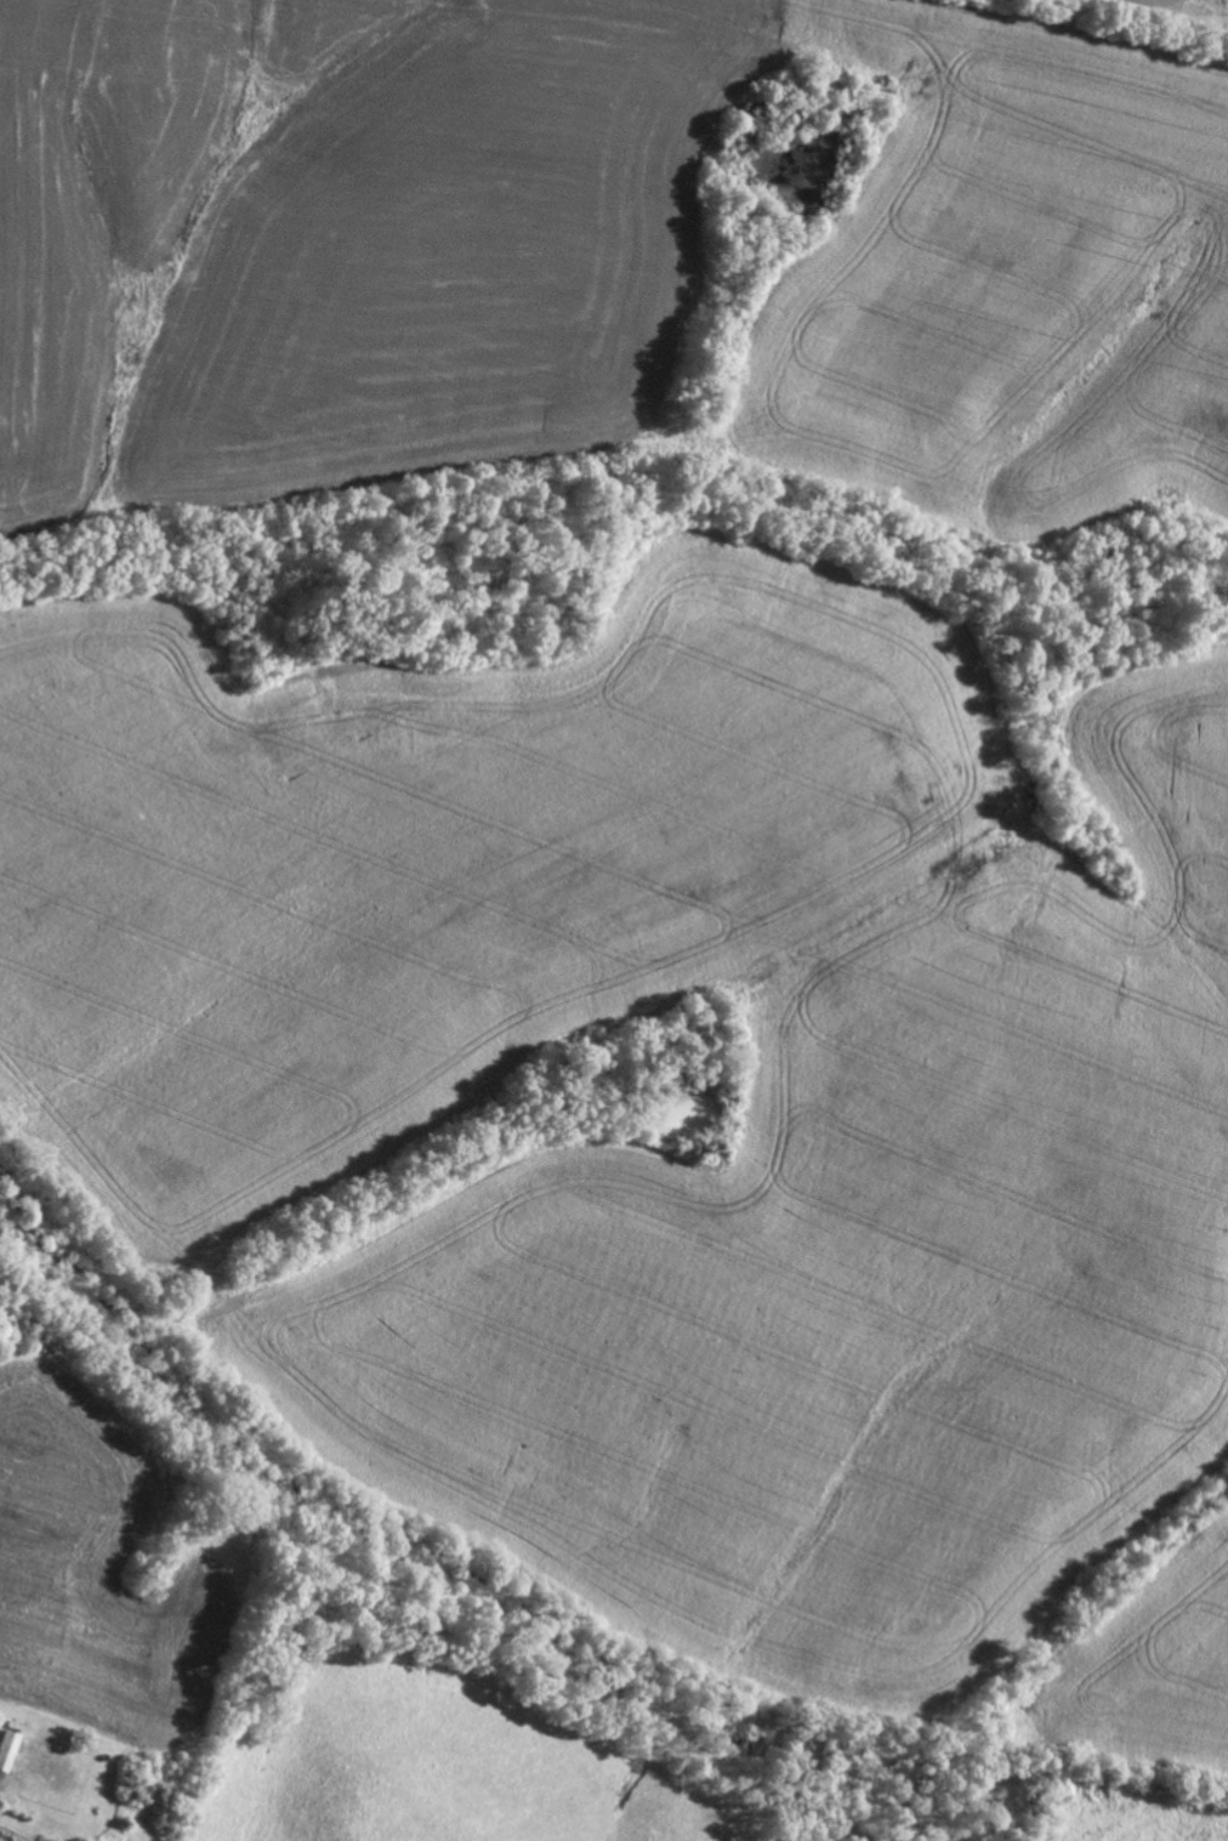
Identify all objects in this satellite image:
building: (19, 1724)
building: (11, 1750)
road: (2, 1837)

